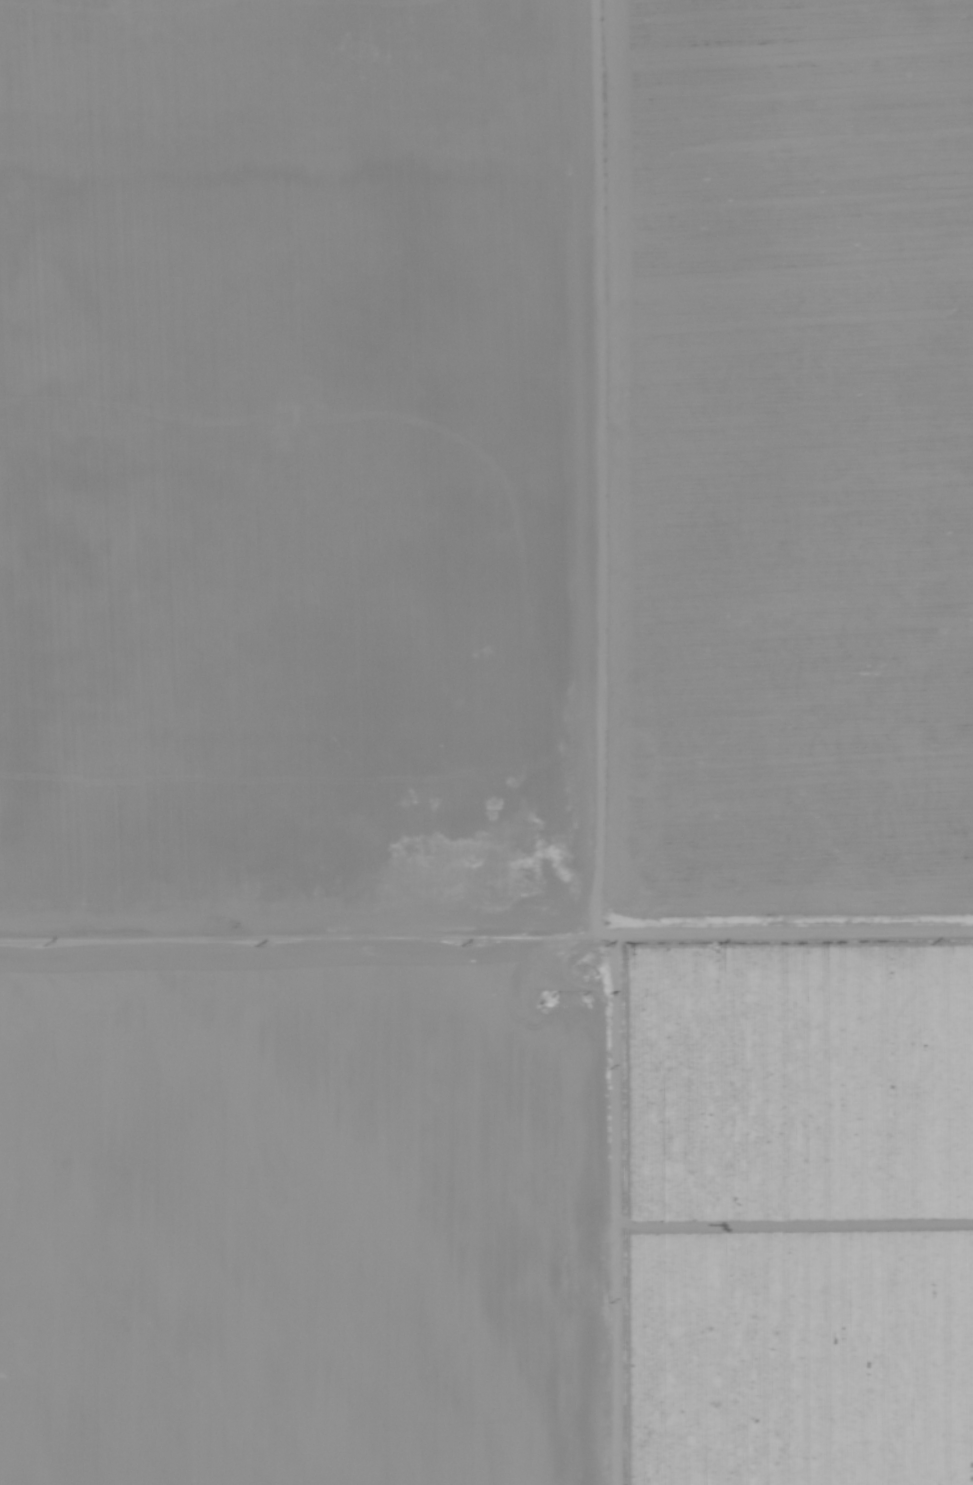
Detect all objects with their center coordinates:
road: (486, 173)
road: (587, 471)
road: (486, 943)
road: (618, 1214)

